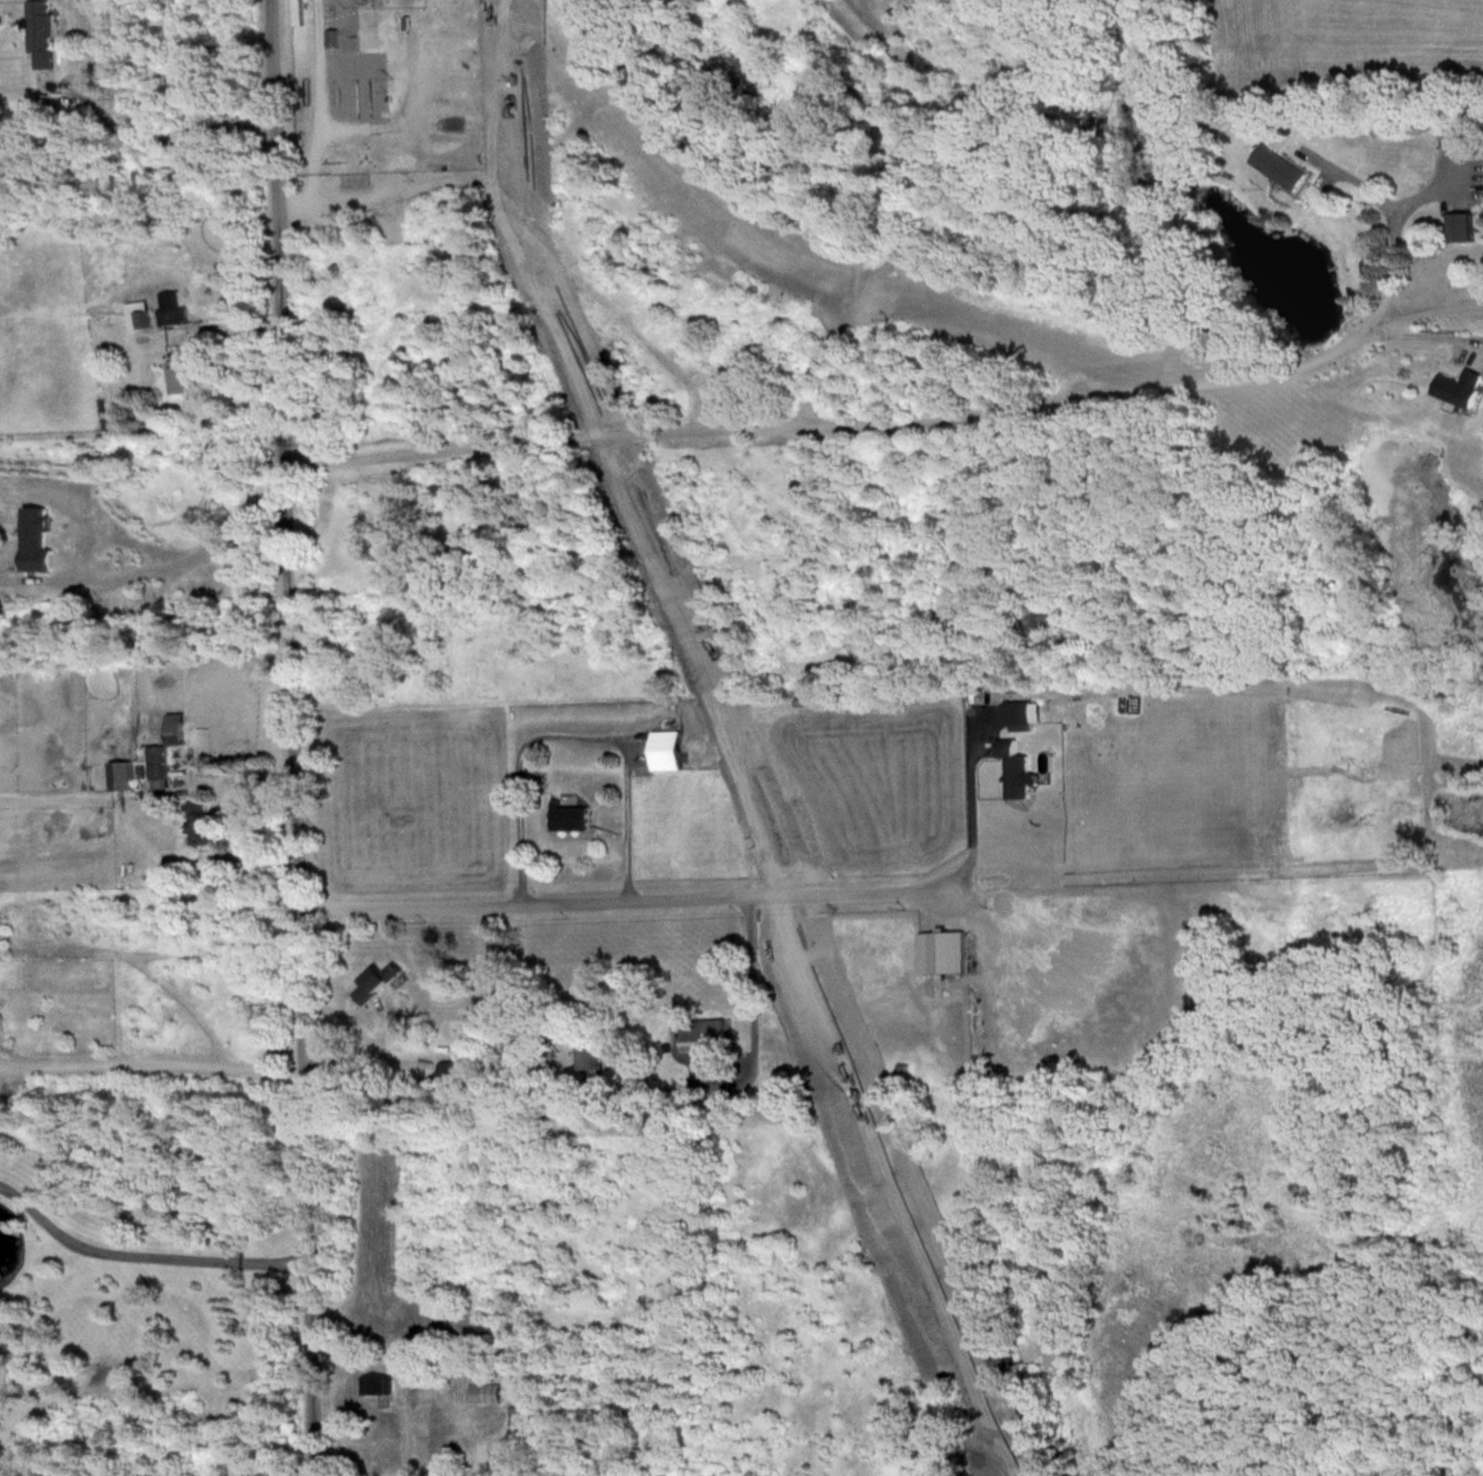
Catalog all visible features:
building: (43, 31)
building: (363, 102)
road: (167, 141)
building: (1282, 165)
road: (1352, 172)
road: (1445, 173)
building: (1464, 225)
road: (859, 269)
road: (1432, 304)
building: (174, 307)
building: (141, 313)
road: (1418, 330)
road: (203, 359)
building: (180, 375)
building: (1462, 385)
road: (894, 417)
building: (38, 538)
road: (221, 538)
building: (1022, 710)
road: (295, 737)
road: (572, 737)
building: (666, 748)
building: (166, 750)
building: (1017, 767)
building: (123, 773)
road: (246, 777)
building: (572, 815)
building: (205, 822)
road: (971, 831)
road: (608, 893)
building: (944, 950)
building: (376, 981)
road: (751, 1004)
building: (706, 1034)
road: (370, 1042)
building: (590, 1056)
road: (153, 1061)
building: (454, 1071)
road: (142, 1251)
building: (375, 1383)
building: (491, 1391)

